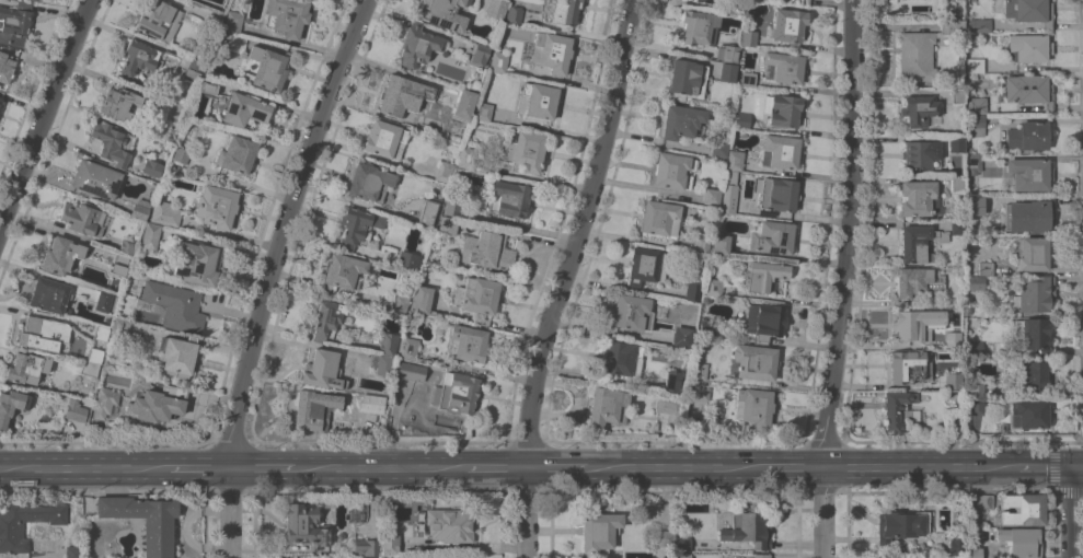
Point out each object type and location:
building: (958, 0)
building: (702, 1)
building: (798, 1)
building: (596, 2)
building: (495, 9)
building: (564, 11)
building: (1029, 11)
building: (441, 13)
building: (514, 14)
building: (952, 14)
building: (287, 15)
building: (214, 20)
building: (159, 21)
building: (233, 22)
building: (14, 23)
building: (978, 25)
building: (696, 26)
building: (788, 26)
building: (950, 26)
building: (749, 37)
building: (230, 43)
building: (417, 44)
building: (1028, 47)
building: (552, 51)
building: (727, 53)
building: (480, 54)
building: (915, 56)
building: (139, 57)
building: (498, 61)
building: (975, 65)
building: (194, 67)
building: (785, 67)
building: (5, 68)
building: (266, 68)
building: (727, 72)
building: (687, 79)
building: (747, 79)
building: (208, 88)
building: (1030, 90)
building: (0, 93)
building: (402, 95)
building: (957, 95)
building: (538, 100)
building: (118, 103)
building: (464, 104)
building: (976, 105)
building: (243, 109)
building: (919, 109)
building: (483, 111)
building: (784, 111)
building: (175, 112)
road: (45, 117)
building: (681, 120)
building: (741, 120)
building: (977, 125)
building: (1028, 135)
building: (384, 139)
building: (111, 142)
building: (955, 143)
building: (719, 148)
building: (526, 149)
building: (780, 151)
building: (237, 153)
building: (181, 154)
building: (920, 154)
building: (468, 155)
building: (735, 160)
building: (972, 162)
building: (151, 167)
building: (443, 171)
building: (672, 171)
building: (1029, 174)
building: (96, 178)
building: (370, 182)
building: (957, 184)
building: (154, 185)
building: (728, 191)
building: (779, 194)
building: (711, 196)
building: (508, 198)
building: (919, 198)
building: (981, 202)
building: (452, 204)
building: (217, 206)
building: (140, 209)
building: (427, 211)
building: (164, 213)
building: (1033, 213)
building: (82, 218)
building: (659, 218)
building: (447, 224)
building: (357, 226)
building: (164, 228)
building: (957, 228)
road: (284, 229)
road: (852, 232)
building: (150, 235)
building: (772, 237)
building: (695, 243)
building: (719, 243)
building: (915, 243)
building: (127, 245)
building: (486, 249)
building: (60, 254)
building: (1033, 254)
building: (408, 259)
building: (198, 261)
building: (120, 264)
building: (646, 265)
building: (986, 268)
building: (343, 271)
building: (764, 275)
road: (564, 277)
building: (915, 281)
building: (975, 282)
building: (713, 287)
building: (692, 290)
building: (1036, 293)
building: (48, 294)
building: (476, 294)
building: (423, 299)
building: (103, 300)
building: (399, 303)
building: (175, 305)
building: (632, 312)
building: (326, 319)
building: (763, 321)
building: (908, 324)
building: (120, 325)
building: (707, 328)
building: (43, 333)
building: (101, 333)
building: (1035, 335)
building: (681, 336)
building: (466, 342)
building: (388, 344)
building: (408, 347)
building: (975, 347)
building: (177, 356)
building: (619, 357)
building: (91, 361)
building: (753, 361)
building: (383, 364)
building: (907, 365)
building: (26, 368)
building: (320, 370)
building: (698, 370)
building: (411, 371)
building: (1032, 374)
building: (671, 381)
building: (953, 381)
building: (973, 384)
building: (456, 392)
building: (696, 392)
building: (364, 400)
building: (104, 402)
building: (158, 403)
building: (668, 404)
building: (11, 405)
building: (607, 406)
building: (756, 406)
building: (975, 406)
building: (312, 407)
building: (74, 410)
building: (897, 410)
building: (1028, 412)
building: (954, 420)
building: (1003, 428)
road: (194, 464)
road: (264, 464)
road: (791, 464)
road: (917, 464)
road: (1047, 464)
traffic signals: (1073, 464)
road: (381, 465)
road: (672, 465)
road: (82, 466)
road: (494, 466)
road: (560, 466)
road: (0, 468)
building: (978, 501)
building: (1022, 509)
road: (823, 510)
road: (224, 511)
road: (1073, 511)
building: (145, 520)
building: (449, 524)
building: (304, 525)
building: (897, 525)
building: (753, 528)
building: (598, 530)
building: (11, 531)
building: (663, 537)
building: (1019, 540)
building: (682, 543)
building: (389, 544)
building: (955, 545)
building: (367, 546)
building: (72, 551)
building: (973, 551)
building: (683, 555)
building: (762, 556)
building: (957, 556)
building: (368, 557)

